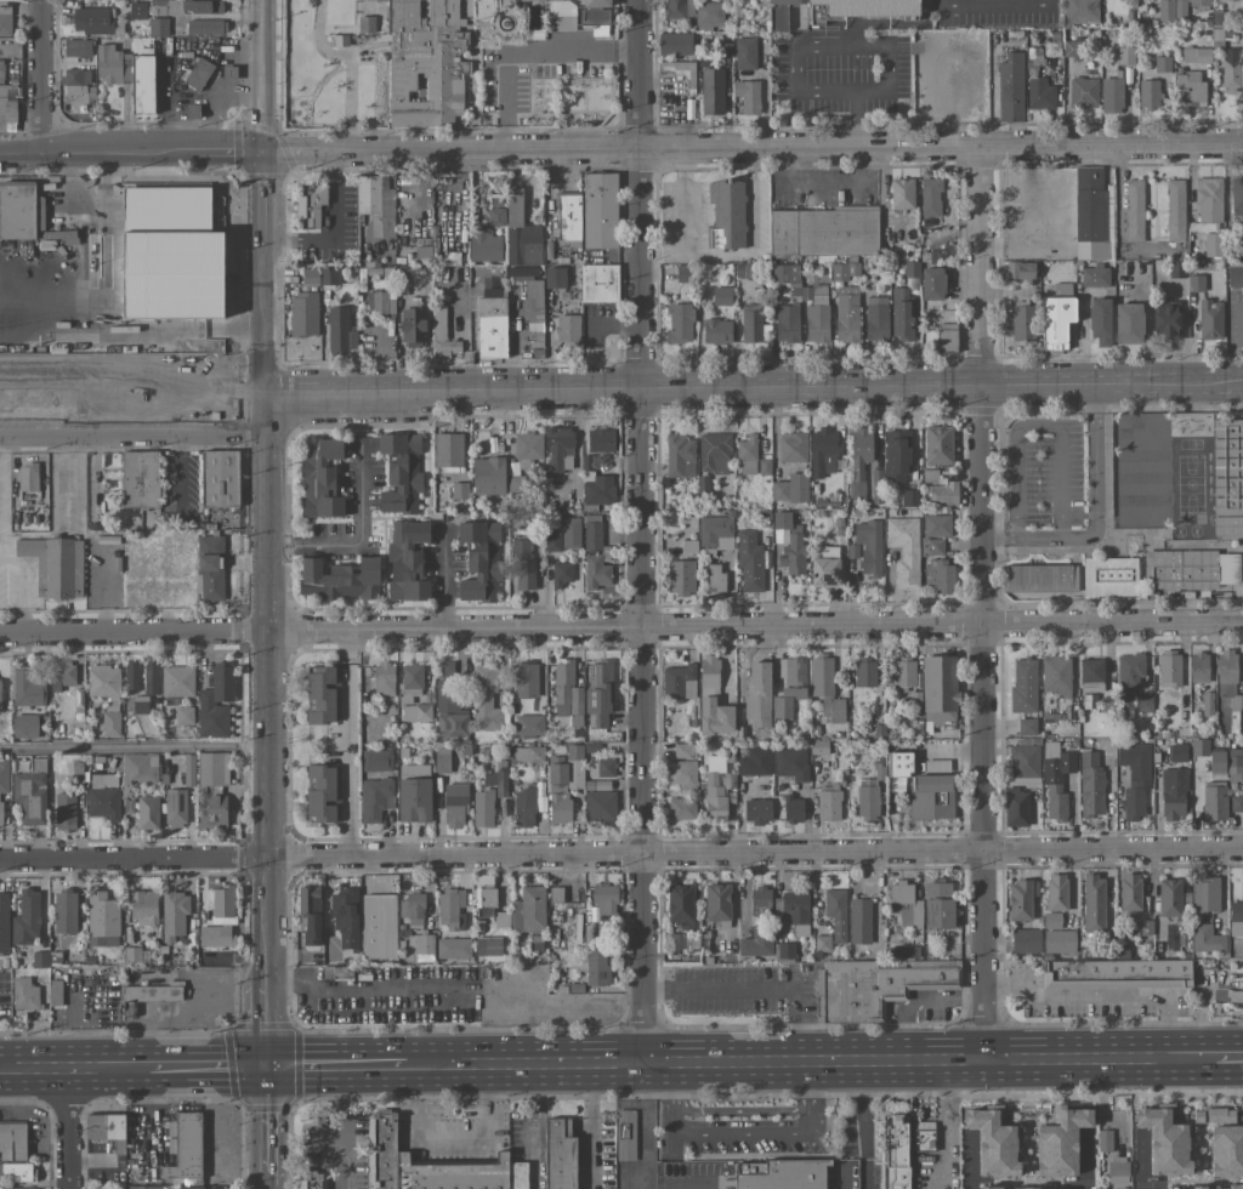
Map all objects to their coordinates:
building: (374, 0)
building: (530, 1)
building: (1199, 2)
building: (202, 6)
road: (995, 6)
building: (172, 7)
building: (868, 7)
building: (137, 8)
building: (1180, 8)
building: (679, 10)
building: (1080, 11)
building: (594, 12)
building: (779, 13)
building: (818, 15)
building: (708, 16)
building: (92, 21)
building: (6, 24)
building: (365, 24)
building: (158, 27)
building: (205, 27)
road: (852, 42)
building: (674, 44)
building: (141, 45)
building: (76, 47)
road: (259, 49)
building: (1072, 49)
road: (527, 52)
building: (744, 53)
building: (1194, 55)
building: (1125, 56)
road: (348, 63)
building: (426, 63)
building: (108, 64)
building: (1162, 64)
building: (1232, 70)
building: (679, 73)
building: (198, 74)
road: (42, 75)
building: (73, 81)
building: (142, 85)
building: (1010, 89)
building: (1188, 90)
building: (711, 91)
building: (1083, 92)
building: (1039, 93)
building: (1148, 95)
building: (747, 96)
building: (1111, 96)
building: (10, 102)
road: (257, 124)
road: (620, 144)
building: (194, 186)
road: (638, 188)
road: (259, 190)
building: (901, 194)
building: (1236, 194)
building: (930, 197)
building: (1208, 200)
building: (375, 201)
building: (151, 206)
building: (310, 206)
building: (1175, 210)
building: (600, 211)
building: (728, 211)
building: (1134, 211)
building: (16, 214)
building: (1091, 215)
building: (495, 217)
building: (568, 220)
road: (336, 231)
building: (822, 232)
building: (521, 233)
building: (715, 238)
road: (260, 241)
building: (483, 245)
building: (1213, 245)
road: (978, 258)
building: (450, 260)
building: (840, 267)
building: (910, 269)
building: (1018, 271)
building: (135, 273)
building: (1235, 273)
building: (784, 274)
building: (329, 275)
building: (310, 277)
building: (1094, 277)
building: (554, 278)
building: (1194, 283)
building: (598, 284)
building: (932, 284)
road: (261, 296)
building: (721, 296)
railway: (103, 312)
railway: (34, 313)
railway: (140, 313)
building: (534, 313)
building: (302, 314)
building: (846, 314)
building: (901, 314)
building: (817, 319)
building: (875, 319)
building: (1210, 319)
building: (1056, 320)
building: (1165, 320)
building: (1099, 322)
building: (490, 323)
building: (679, 323)
building: (1021, 323)
building: (1128, 323)
building: (750, 324)
building: (787, 324)
building: (413, 328)
building: (340, 330)
building: (567, 330)
building: (216, 331)
building: (716, 331)
railway: (52, 337)
building: (442, 337)
building: (946, 339)
railway: (172, 341)
railway: (107, 348)
railway: (67, 363)
road: (262, 366)
railway: (754, 371)
road: (1111, 371)
road: (810, 375)
railway: (132, 376)
road: (450, 379)
railway: (751, 382)
railway: (129, 387)
road: (1168, 393)
road: (1035, 394)
road: (810, 397)
road: (452, 399)
road: (1040, 423)
road: (132, 436)
building: (600, 439)
building: (937, 445)
building: (791, 446)
building: (527, 449)
building: (558, 449)
building: (448, 450)
building: (822, 451)
building: (714, 453)
building: (747, 453)
building: (680, 456)
building: (896, 457)
building: (858, 459)
building: (764, 467)
building: (399, 473)
building: (487, 476)
building: (929, 476)
building: (319, 477)
building: (27, 478)
building: (138, 479)
building: (218, 479)
building: (875, 484)
building: (512, 485)
building: (597, 489)
building: (790, 489)
building: (459, 490)
building: (942, 494)
building: (909, 497)
road: (1094, 522)
building: (936, 527)
building: (571, 533)
building: (715, 533)
building: (591, 535)
building: (552, 544)
road: (356, 545)
building: (789, 545)
building: (688, 547)
building: (868, 547)
building: (932, 547)
building: (903, 550)
building: (407, 561)
building: (479, 562)
building: (749, 563)
building: (55, 565)
building: (522, 565)
building: (210, 568)
building: (825, 568)
building: (1191, 569)
building: (596, 573)
building: (561, 574)
building: (1109, 576)
building: (680, 578)
building: (714, 578)
building: (941, 578)
building: (1040, 579)
building: (339, 580)
road: (620, 628)
building: (1242, 659)
building: (1198, 667)
building: (1169, 670)
building: (864, 672)
building: (902, 673)
building: (1090, 675)
building: (62, 676)
building: (131, 676)
building: (1056, 676)
building: (149, 677)
building: (1227, 678)
building: (382, 679)
building: (526, 679)
building: (102, 681)
building: (176, 682)
building: (679, 682)
building: (1128, 682)
building: (410, 683)
building: (789, 685)
building: (1023, 685)
building: (824, 688)
building: (27, 689)
road: (266, 689)
building: (938, 692)
building: (566, 693)
building: (0, 694)
building: (598, 694)
building: (757, 694)
building: (322, 695)
building: (711, 700)
building: (215, 702)
building: (484, 702)
building: (448, 704)
building: (1143, 704)
building: (1207, 704)
building: (140, 705)
building: (415, 713)
building: (183, 716)
building: (110, 724)
building: (528, 726)
building: (24, 727)
building: (1026, 727)
road: (980, 728)
road: (642, 730)
road: (352, 744)
road: (132, 746)
building: (818, 747)
building: (683, 751)
building: (573, 752)
building: (1169, 752)
building: (528, 753)
building: (376, 761)
building: (754, 762)
building: (1023, 762)
building: (790, 763)
building: (441, 764)
building: (898, 764)
building: (936, 766)
building: (1233, 766)
building: (138, 768)
building: (602, 768)
building: (212, 769)
building: (188, 770)
building: (681, 774)
building: (1134, 778)
building: (499, 783)
building: (716, 785)
building: (1056, 785)
building: (1090, 785)
building: (762, 791)
building: (4, 793)
building: (414, 793)
building: (557, 793)
building: (1173, 793)
building: (30, 795)
building: (323, 795)
building: (930, 797)
building: (374, 798)
building: (867, 801)
building: (1214, 801)
building: (103, 803)
building: (828, 803)
building: (540, 804)
building: (600, 804)
building: (1236, 804)
building: (454, 806)
building: (523, 807)
building: (175, 808)
building: (482, 808)
building: (1015, 808)
building: (681, 809)
building: (793, 809)
building: (64, 812)
building: (211, 812)
building: (756, 812)
building: (147, 813)
road: (620, 853)
building: (1129, 892)
building: (1056, 893)
building: (556, 895)
building: (1204, 895)
building: (1169, 898)
building: (605, 899)
building: (1021, 899)
building: (760, 901)
building: (486, 903)
building: (716, 903)
building: (937, 904)
building: (1094, 904)
building: (904, 905)
building: (680, 906)
building: (142, 908)
building: (795, 908)
building: (450, 909)
building: (414, 910)
building: (528, 911)
building: (1237, 911)
building: (64, 914)
building: (310, 914)
building: (835, 914)
building: (172, 916)
building: (345, 917)
building: (25, 918)
building: (218, 920)
building: (102, 921)
building: (859, 921)
building: (1051, 921)
building: (5, 923)
building: (379, 927)
building: (1205, 939)
building: (1025, 941)
building: (1058, 941)
building: (755, 943)
building: (821, 943)
building: (490, 946)
building: (422, 948)
building: (453, 949)
building: (132, 954)
building: (596, 967)
building: (1117, 973)
building: (1242, 983)
building: (875, 986)
road: (369, 991)
road: (751, 991)
road: (1107, 991)
building: (4, 992)
building: (55, 992)
building: (153, 992)
building: (24, 994)
road: (915, 1000)
road: (1199, 1023)
road: (266, 1026)
road: (1231, 1059)
road: (816, 1062)
road: (339, 1065)
road: (74, 1066)
road: (208, 1066)
traffic signals: (266, 1066)
building: (1213, 1115)
road: (265, 1119)
building: (1242, 1120)
road: (642, 1122)
road: (586, 1125)
road: (863, 1125)
road: (942, 1125)
road: (68, 1127)
road: (347, 1127)
road: (448, 1128)
building: (106, 1130)
road: (739, 1133)
building: (624, 1136)
building: (921, 1136)
building: (993, 1139)
building: (1062, 1139)
building: (1164, 1139)
building: (15, 1142)
building: (1103, 1142)
building: (186, 1148)
building: (1226, 1150)
building: (895, 1151)
building: (558, 1155)
road: (671, 1162)
road: (1137, 1164)
building: (430, 1165)
building: (1117, 1167)
building: (17, 1172)
building: (778, 1174)
road: (263, 1178)
road: (846, 1178)
building: (312, 1181)
road: (692, 1183)
road: (263, 1187)
building: (1198, 1187)
building: (1235, 1187)
building: (143, 1188)
building: (200, 1188)
building: (989, 1188)
building: (1029, 1188)
building: (1038, 1188)

